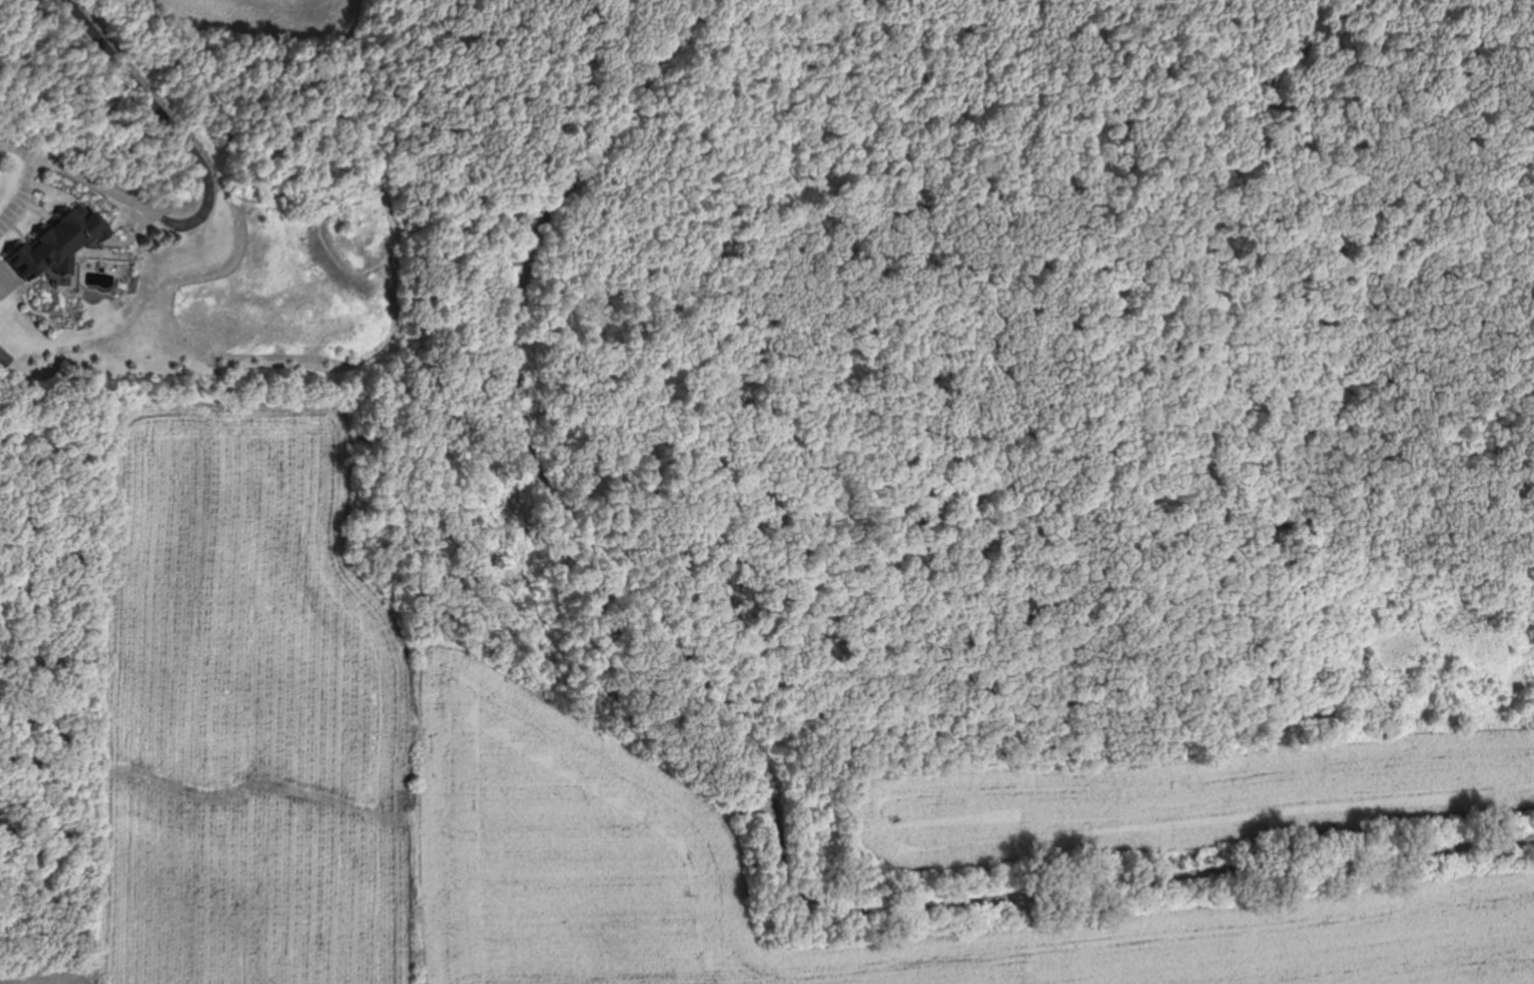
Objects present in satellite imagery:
road: (176, 122)
building: (48, 244)

